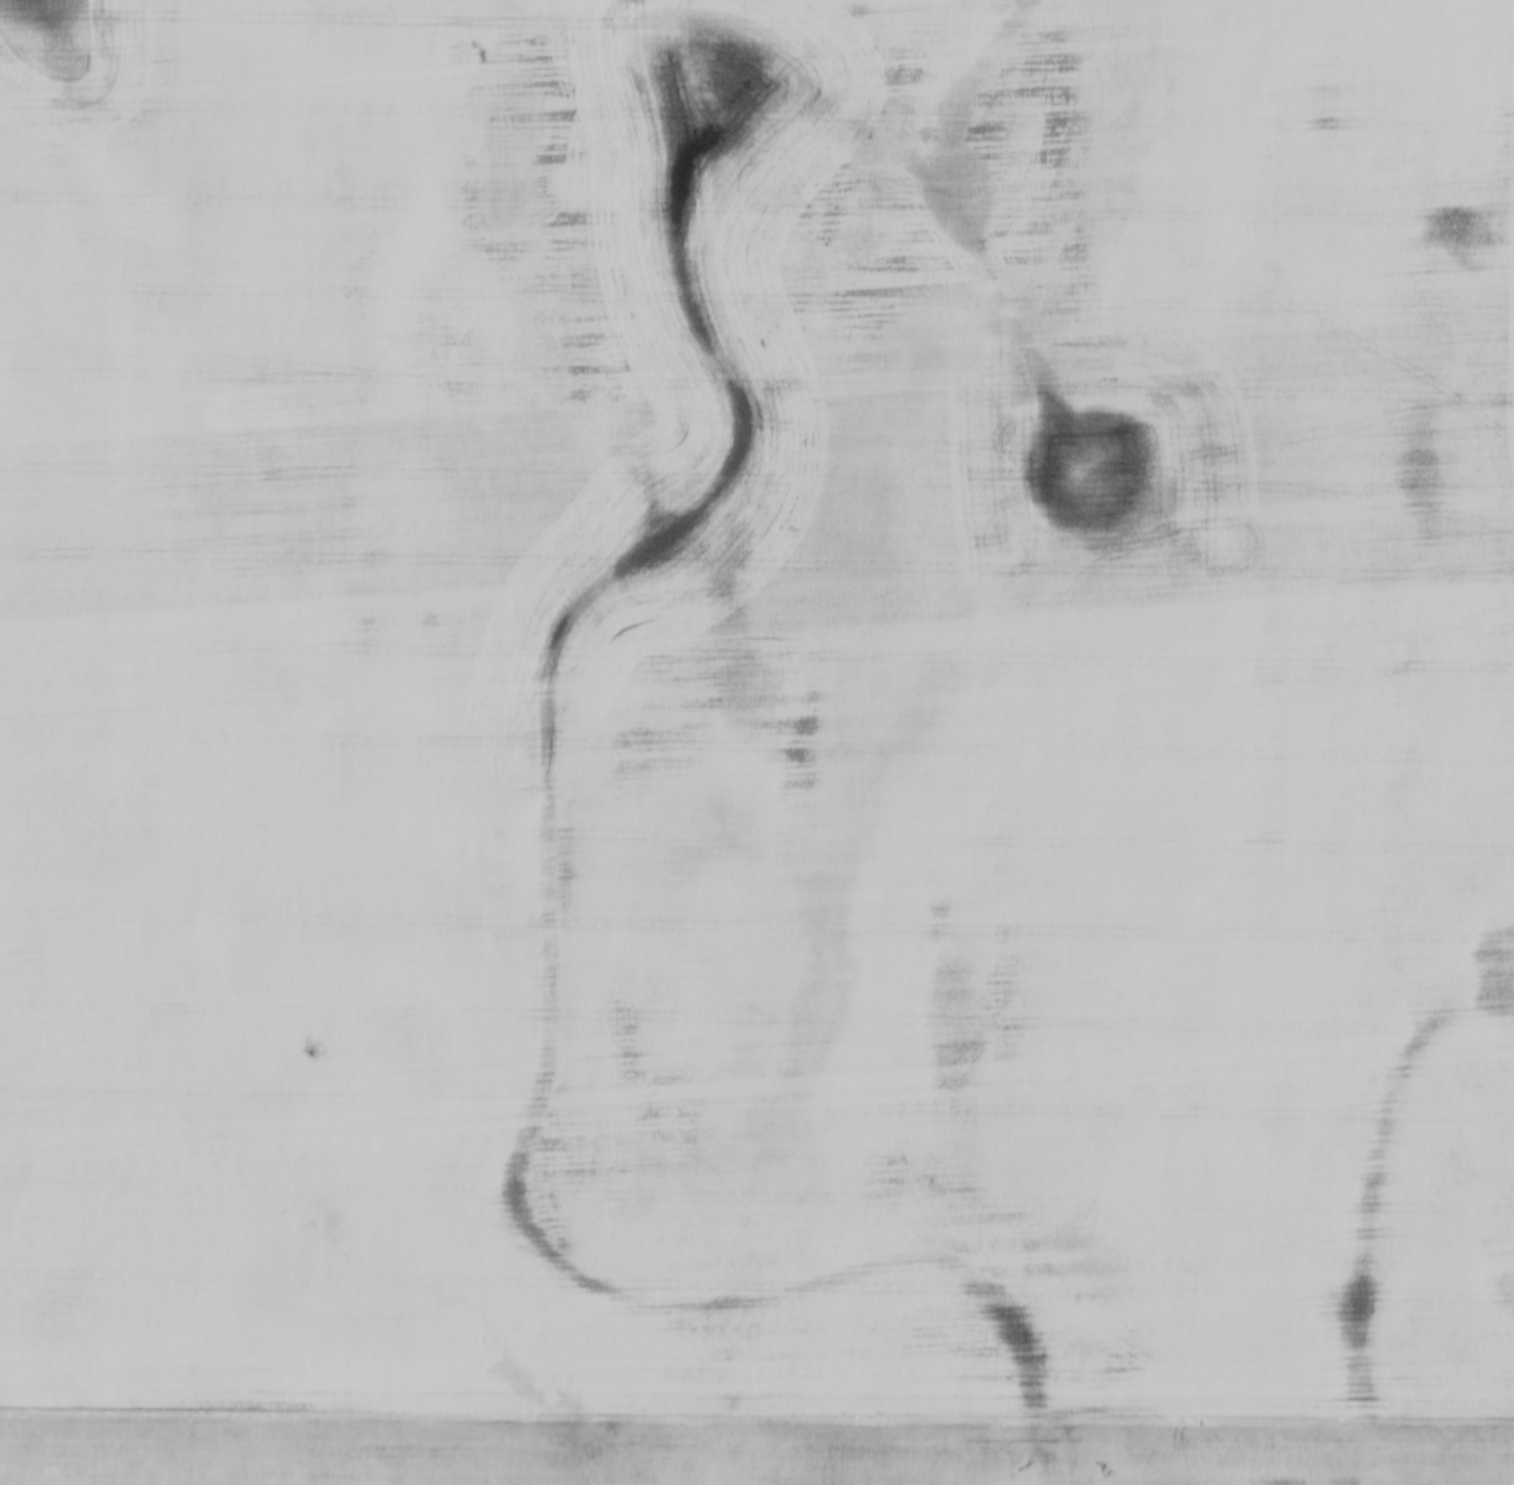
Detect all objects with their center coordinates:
road: (756, 1420)

